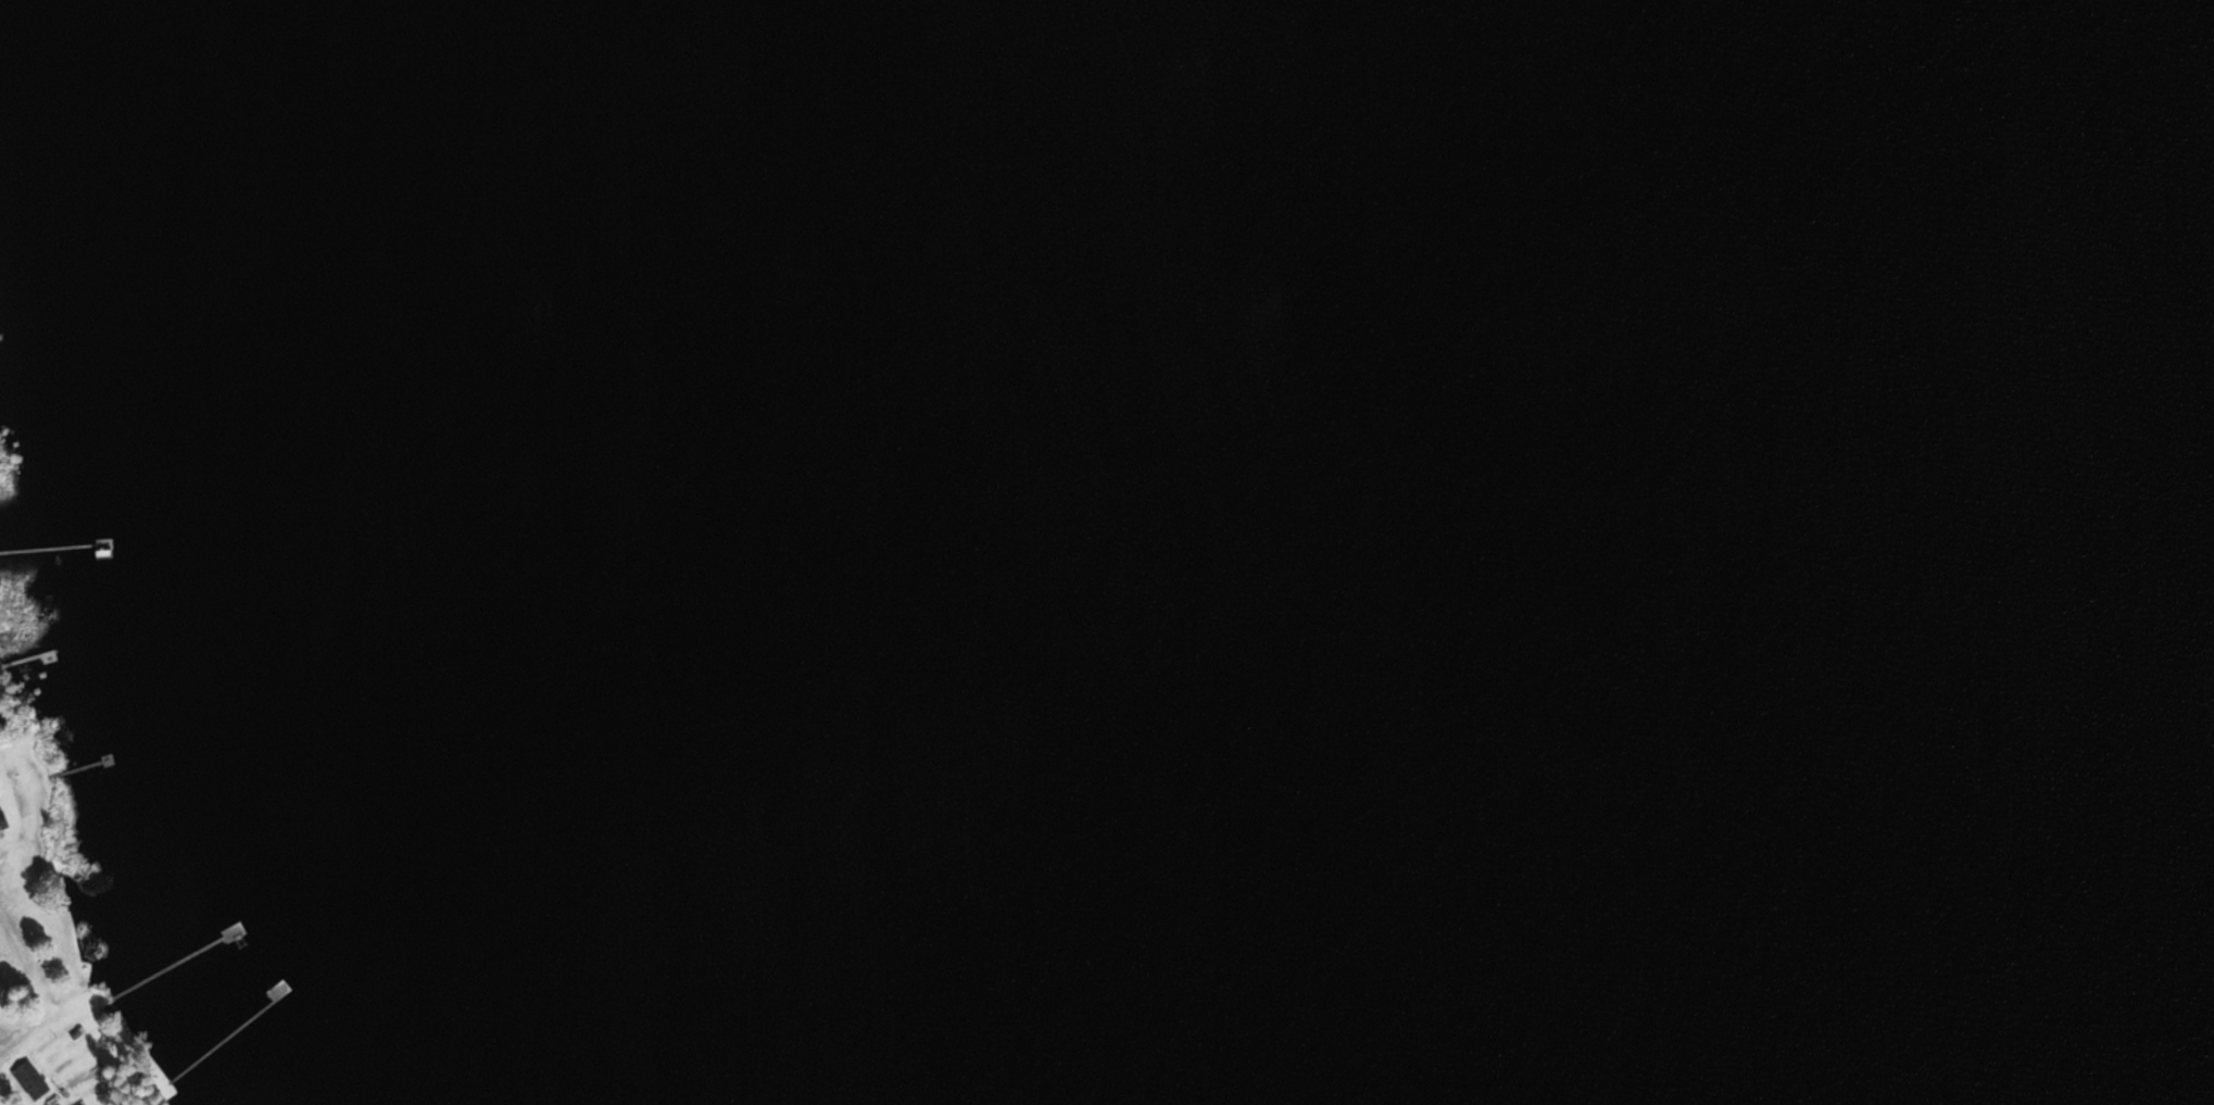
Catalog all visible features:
building: (1, 821)
building: (27, 1079)
building: (77, 1104)

